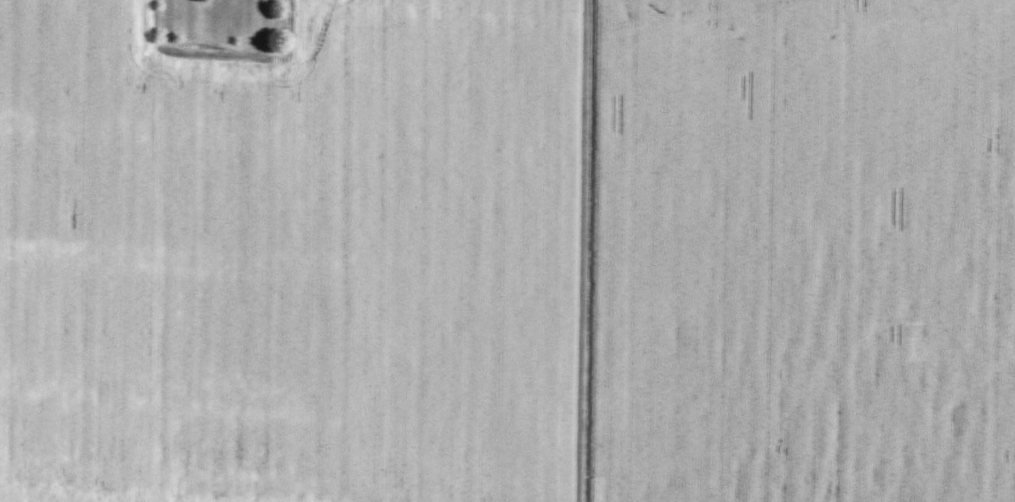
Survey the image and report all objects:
road: (583, 251)

